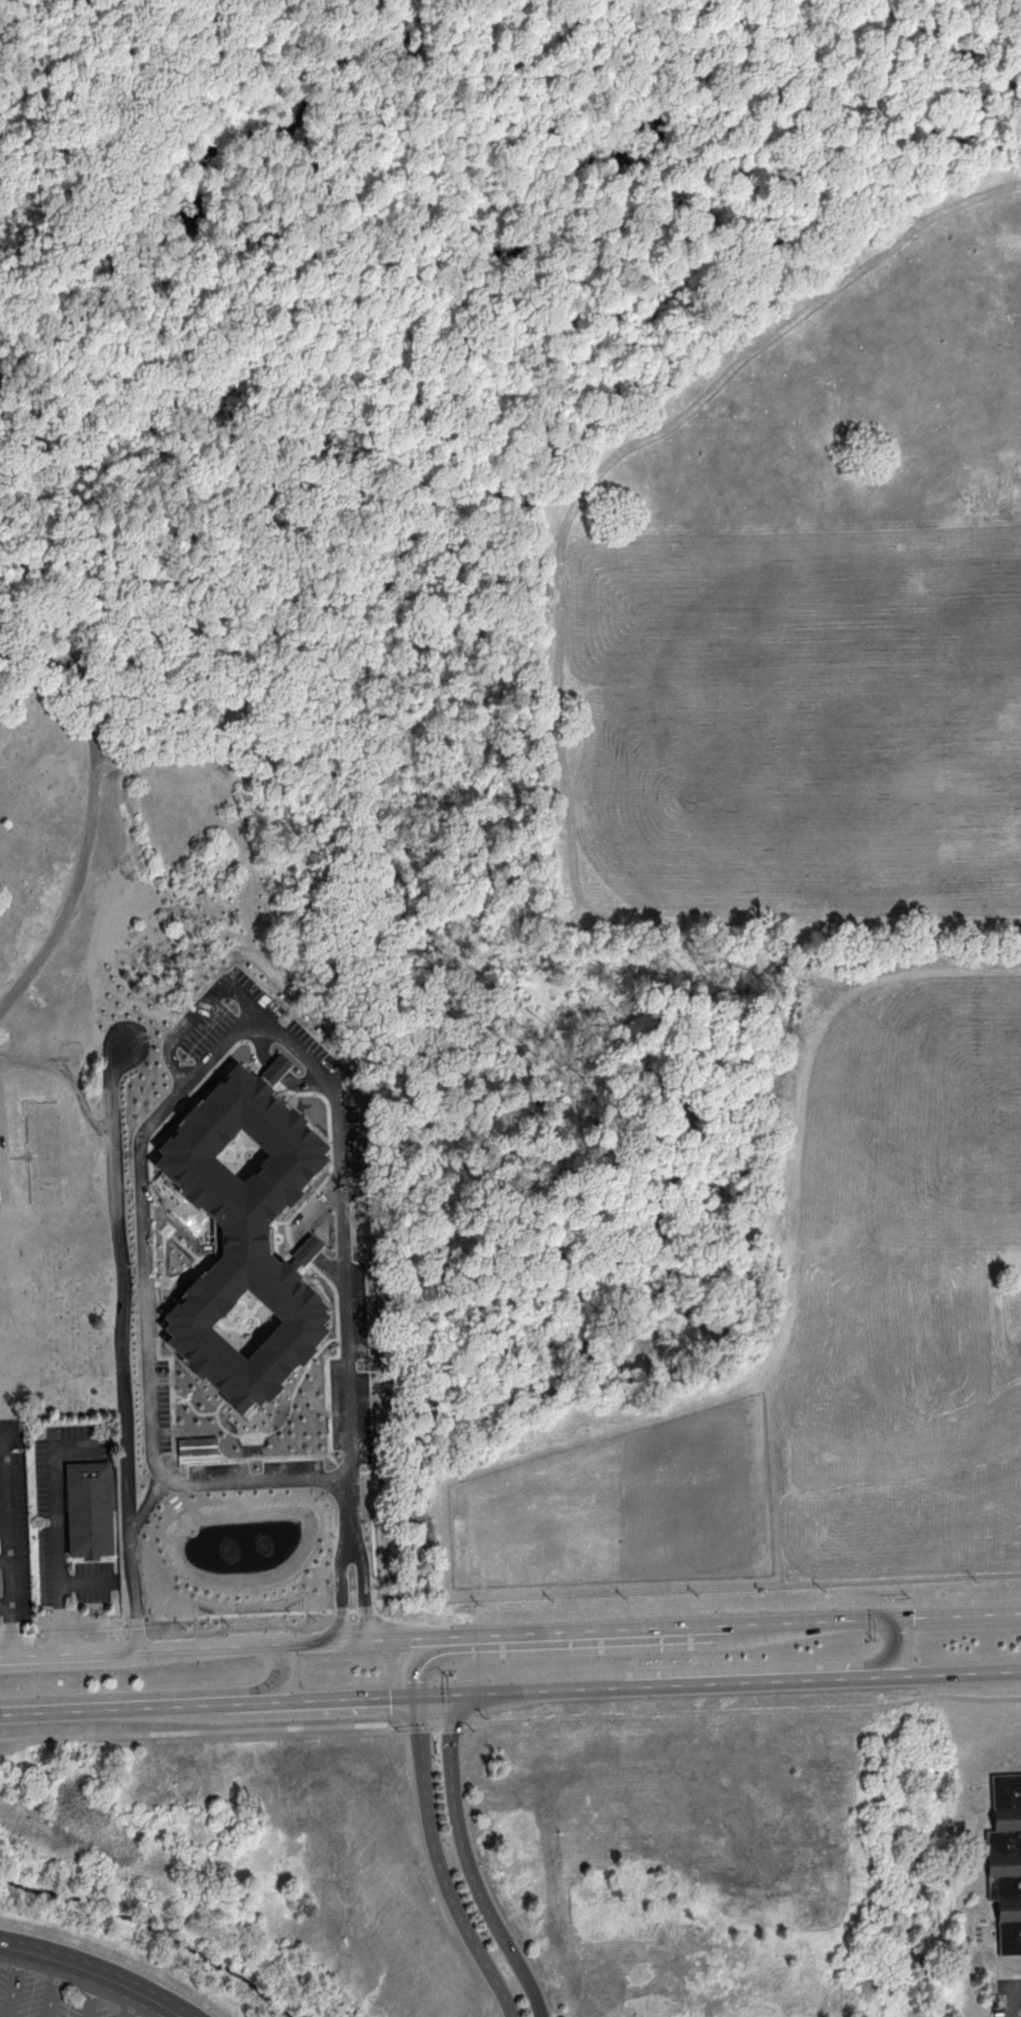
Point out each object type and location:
road: (709, 74)
road: (872, 132)
road: (893, 179)
road: (769, 335)
road: (479, 345)
park: (181, 722)
road: (215, 731)
road: (162, 762)
crop: (692, 782)
road: (92, 802)
road: (615, 909)
road: (1, 1178)
road: (142, 1204)
building: (242, 1242)
road: (346, 1265)
road: (125, 1318)
building: (197, 1445)
road: (278, 1478)
road: (149, 1501)
building: (89, 1509)
road: (350, 1535)
road: (11, 1541)
road: (58, 1558)
road: (6, 1564)
road: (7, 1605)
road: (919, 1612)
traffic signals: (892, 1614)
road: (547, 1628)
road: (207, 1643)
road: (599, 1644)
road: (67, 1648)
road: (69, 1663)
road: (744, 1667)
road: (791, 1685)
road: (159, 1693)
road: (489, 1698)
traffic signals: (448, 1700)
traffic signals: (417, 1701)
road: (208, 1709)
road: (510, 1719)
road: (450, 1758)
building: (1006, 1860)
road: (440, 1866)
road: (492, 1918)
road: (97, 1972)
road: (14, 1983)
road: (54, 1988)
road: (89, 1994)
parking lot: (49, 1998)
road: (1015, 1998)
road: (128, 2001)
parking lot: (1005, 2004)
road: (1010, 2008)
road: (164, 2010)

